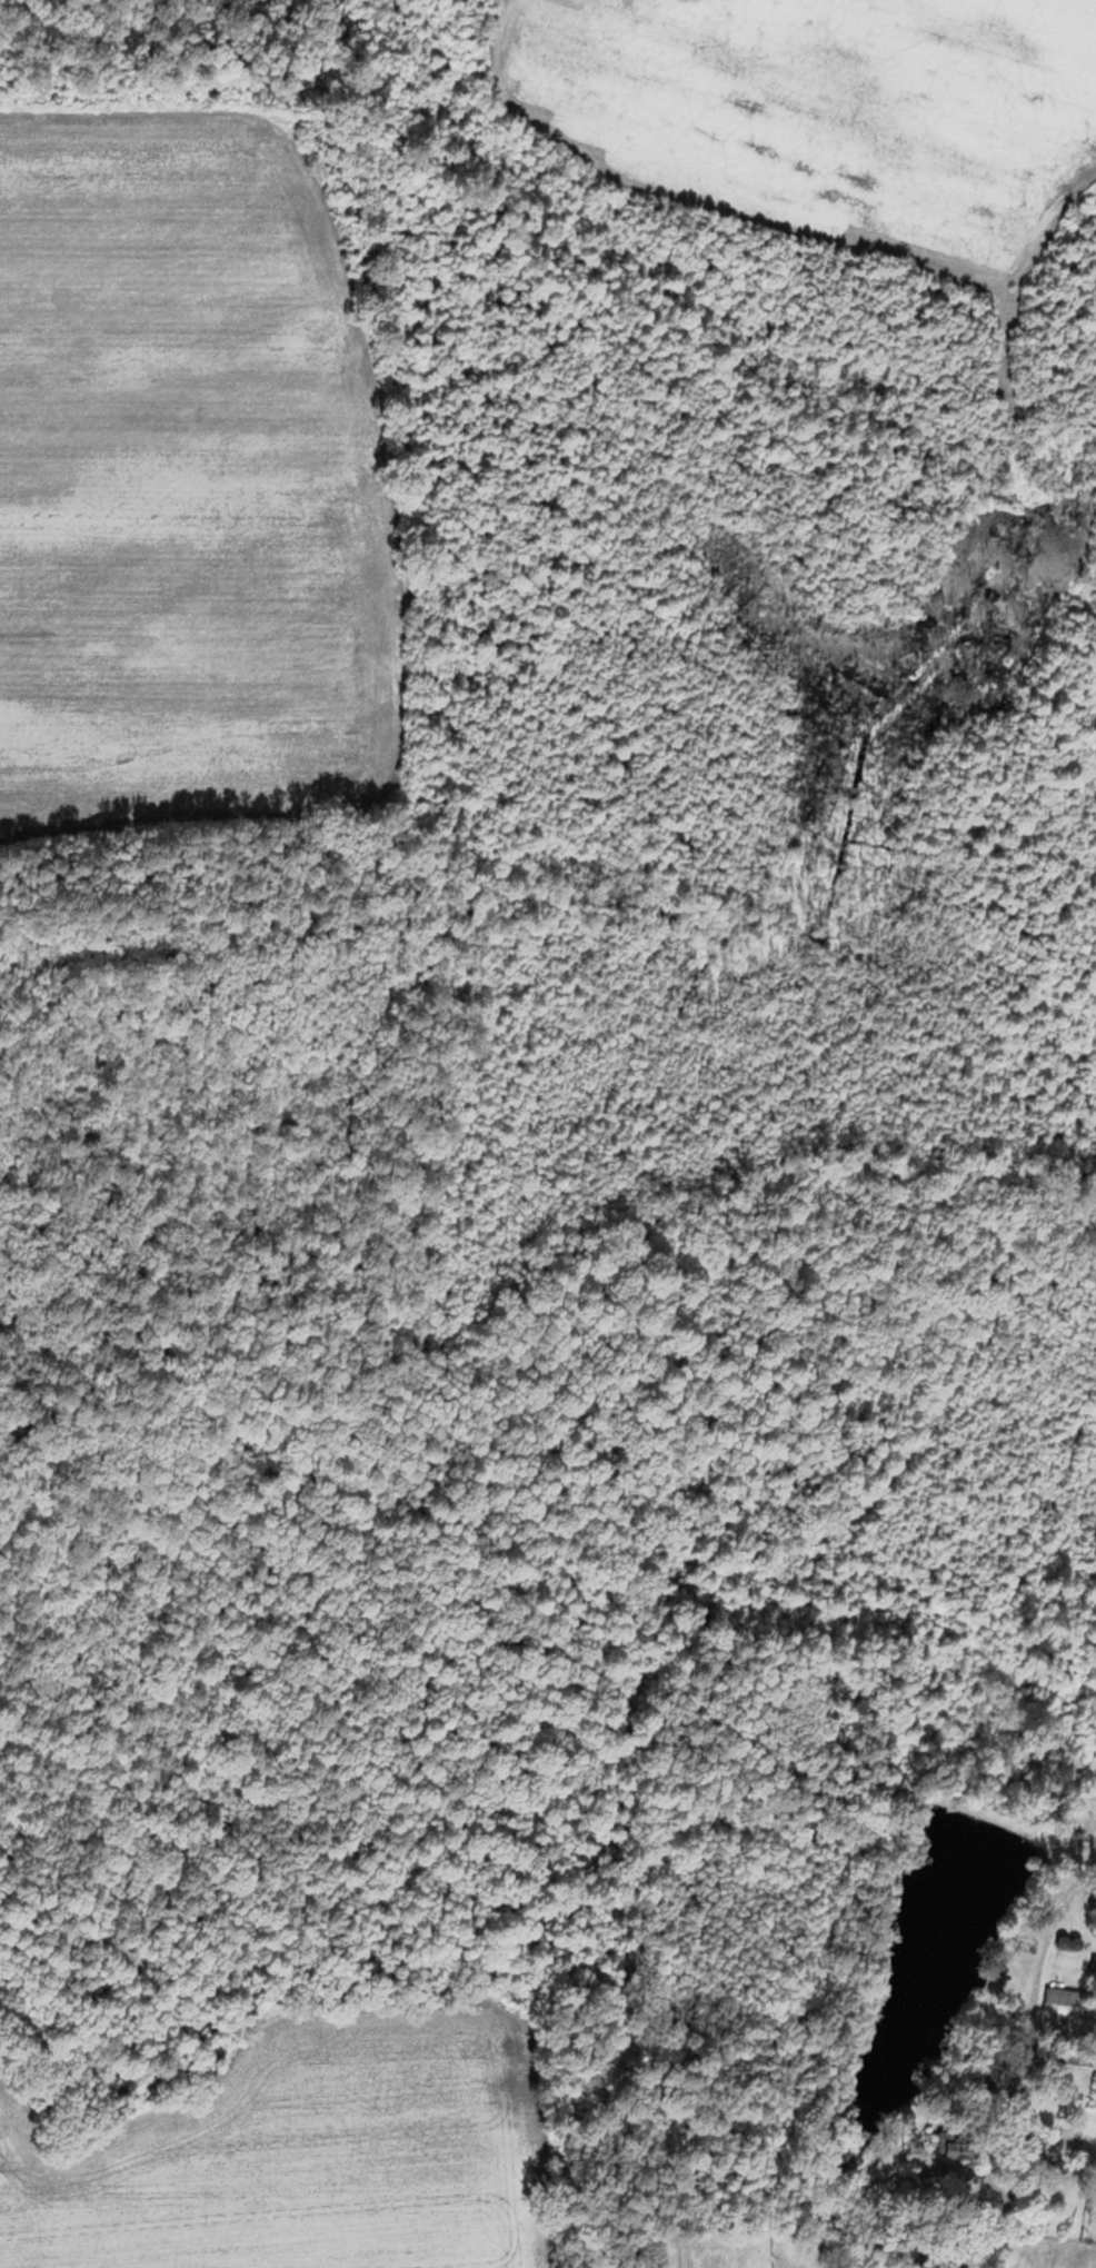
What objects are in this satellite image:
building: (1067, 1995)
building: (1075, 2058)
road: (1025, 2062)
building: (1072, 2137)
building: (935, 2143)

